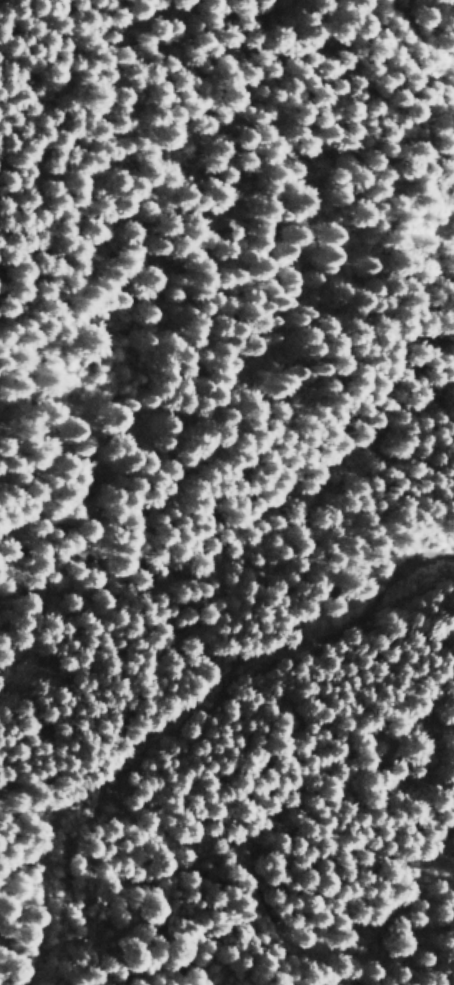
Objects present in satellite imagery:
road: (205, 719)

